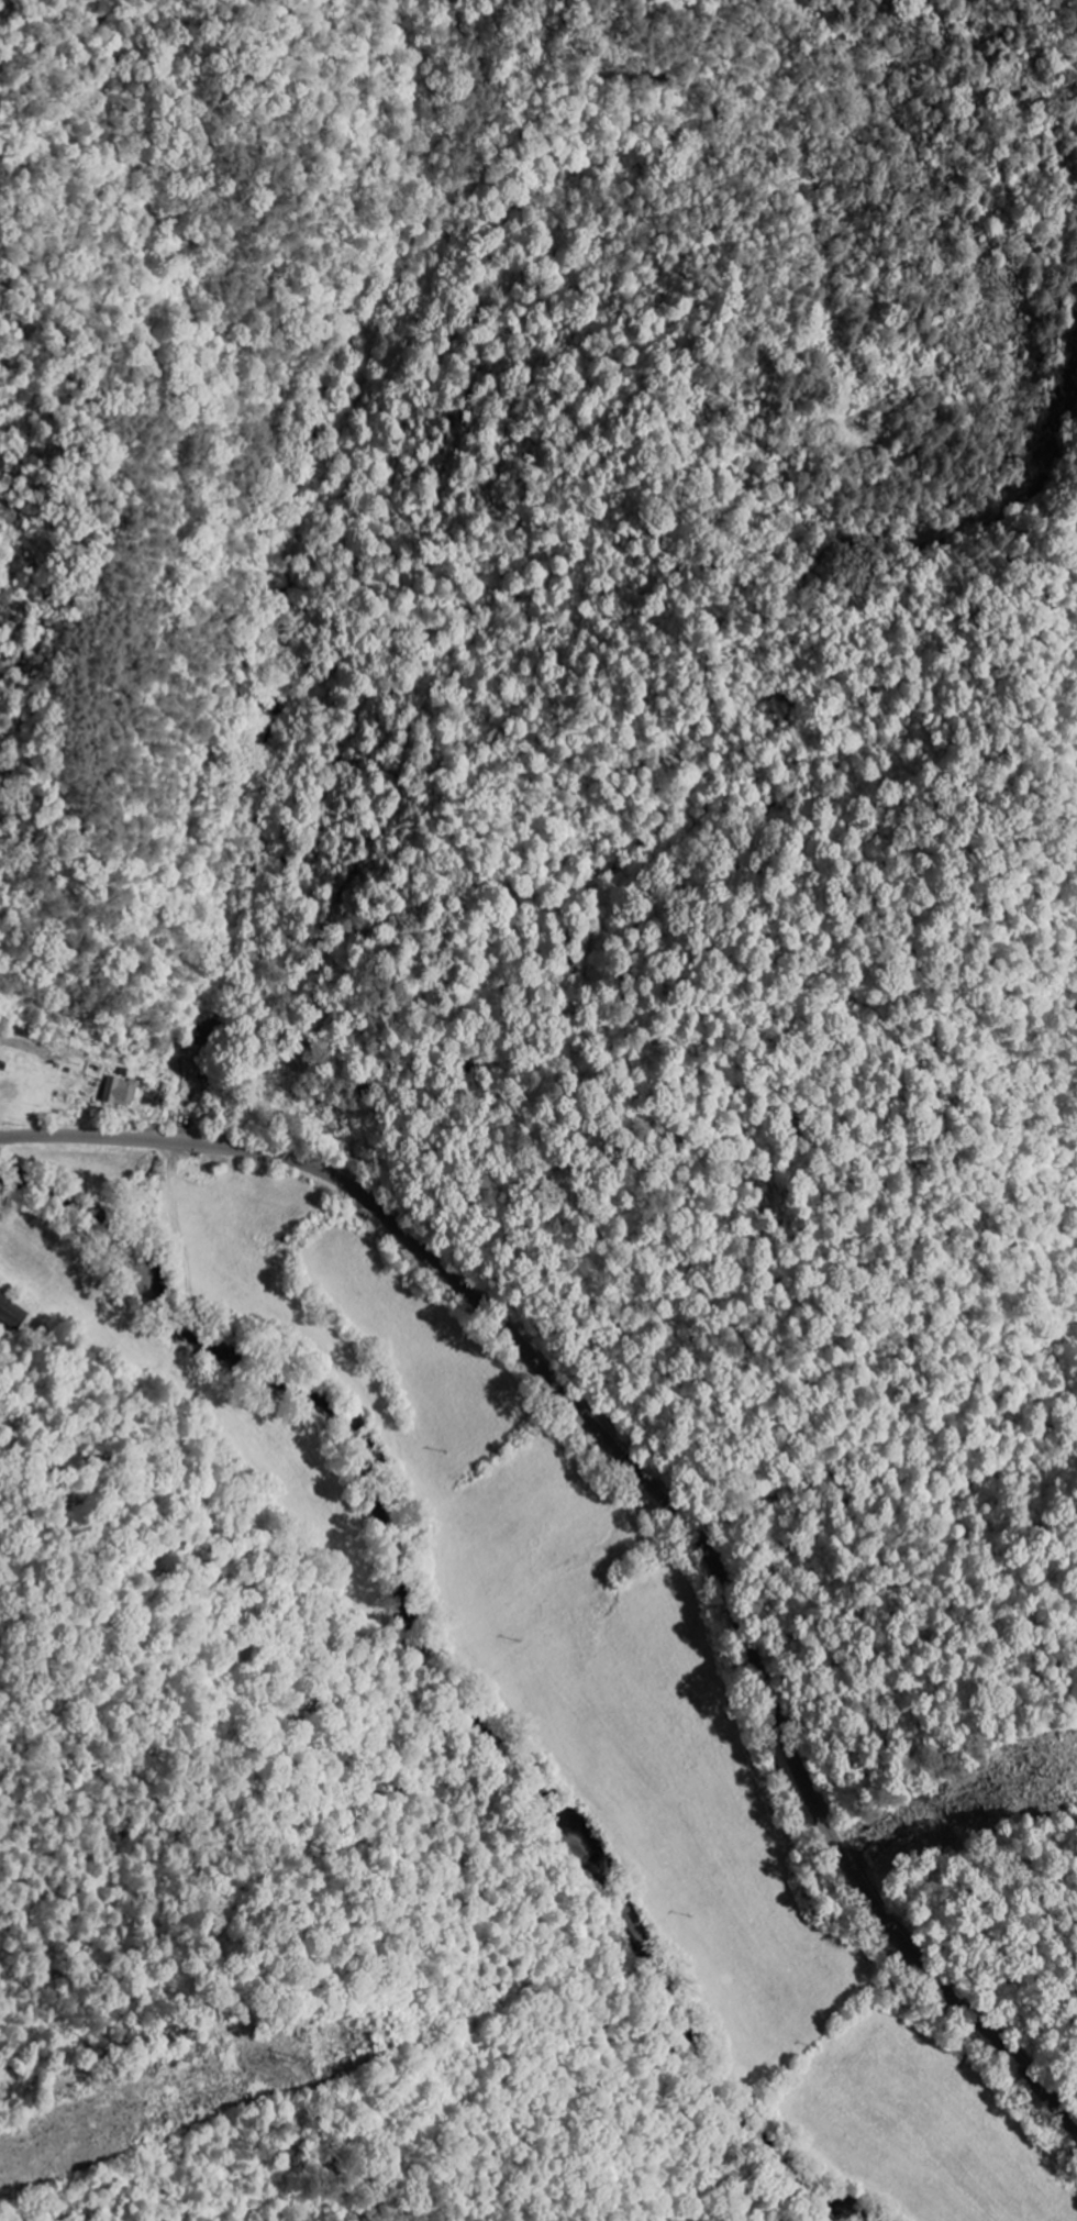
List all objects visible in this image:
building: (120, 1092)
building: (13, 1311)
road: (652, 1484)

